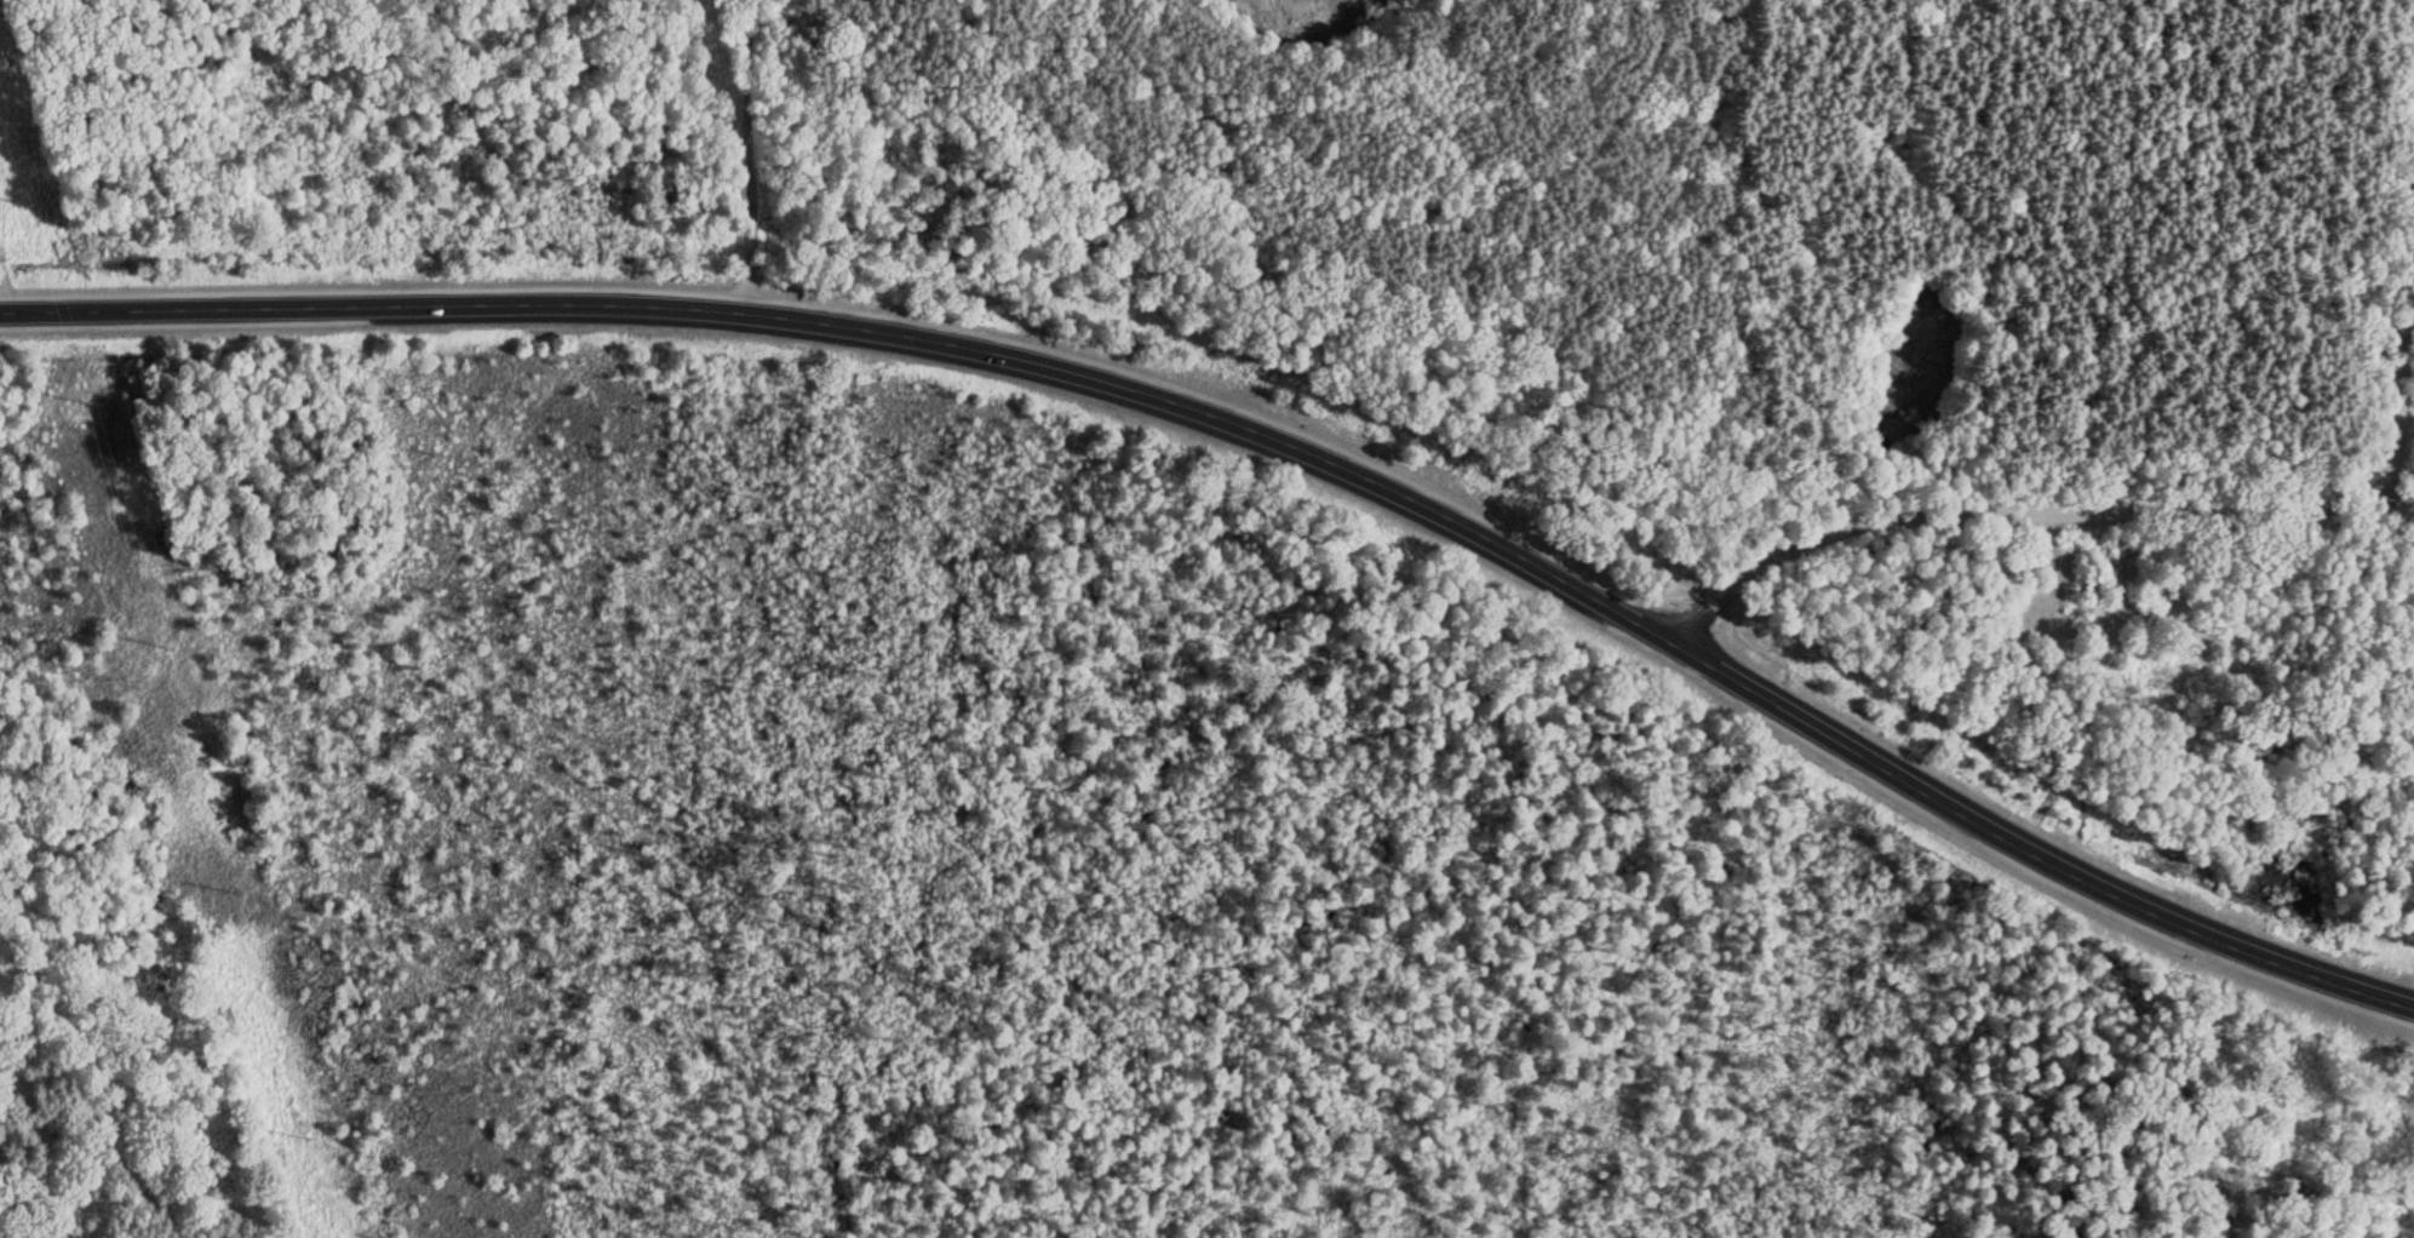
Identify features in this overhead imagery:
road: (750, 155)
road: (2406, 350)
road: (1267, 436)
road: (2032, 514)

